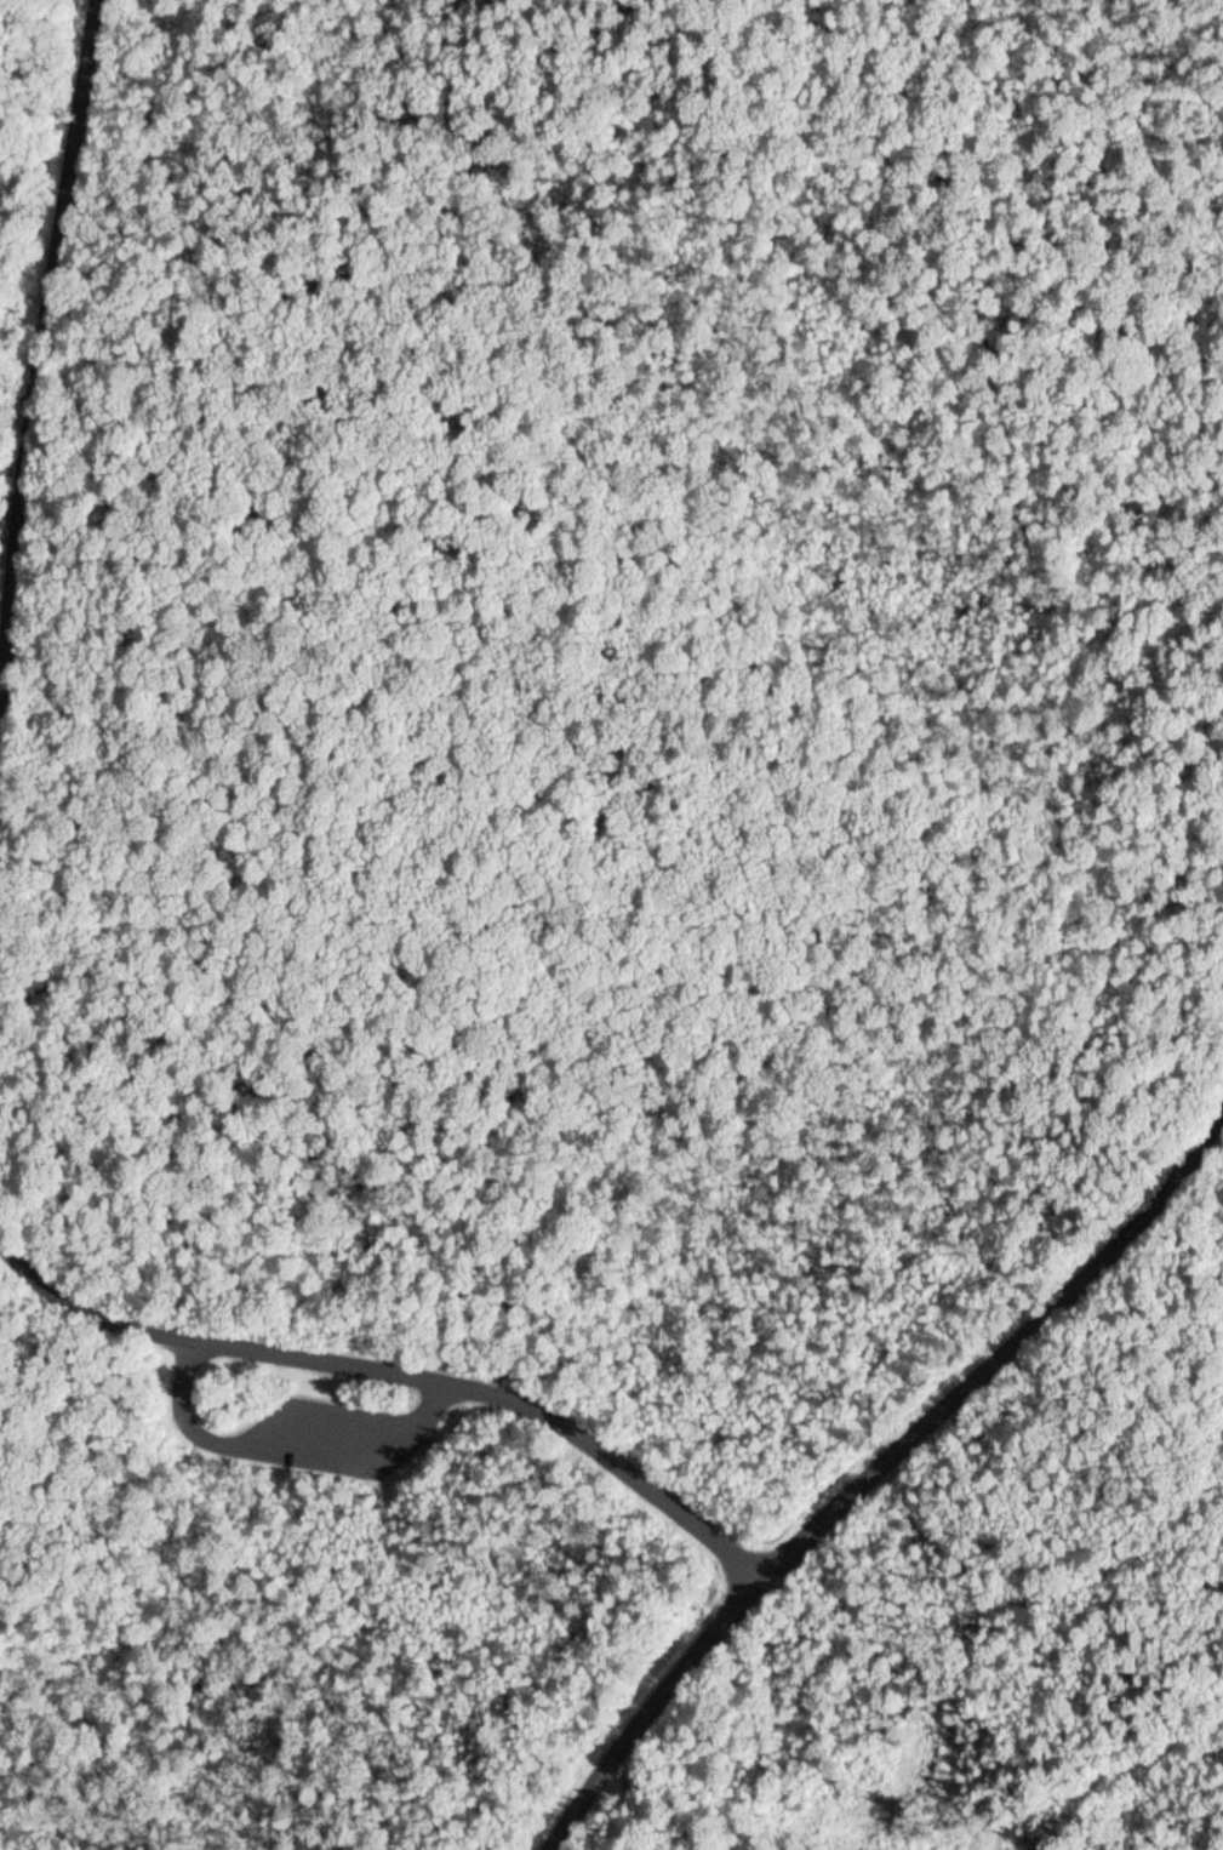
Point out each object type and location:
road: (39, 378)
road: (994, 1353)
road: (170, 1354)
road: (393, 1377)
road: (88, 1394)
parking lot: (333, 1437)
road: (219, 1441)
road: (389, 1452)
road: (114, 1654)
road: (650, 1709)

